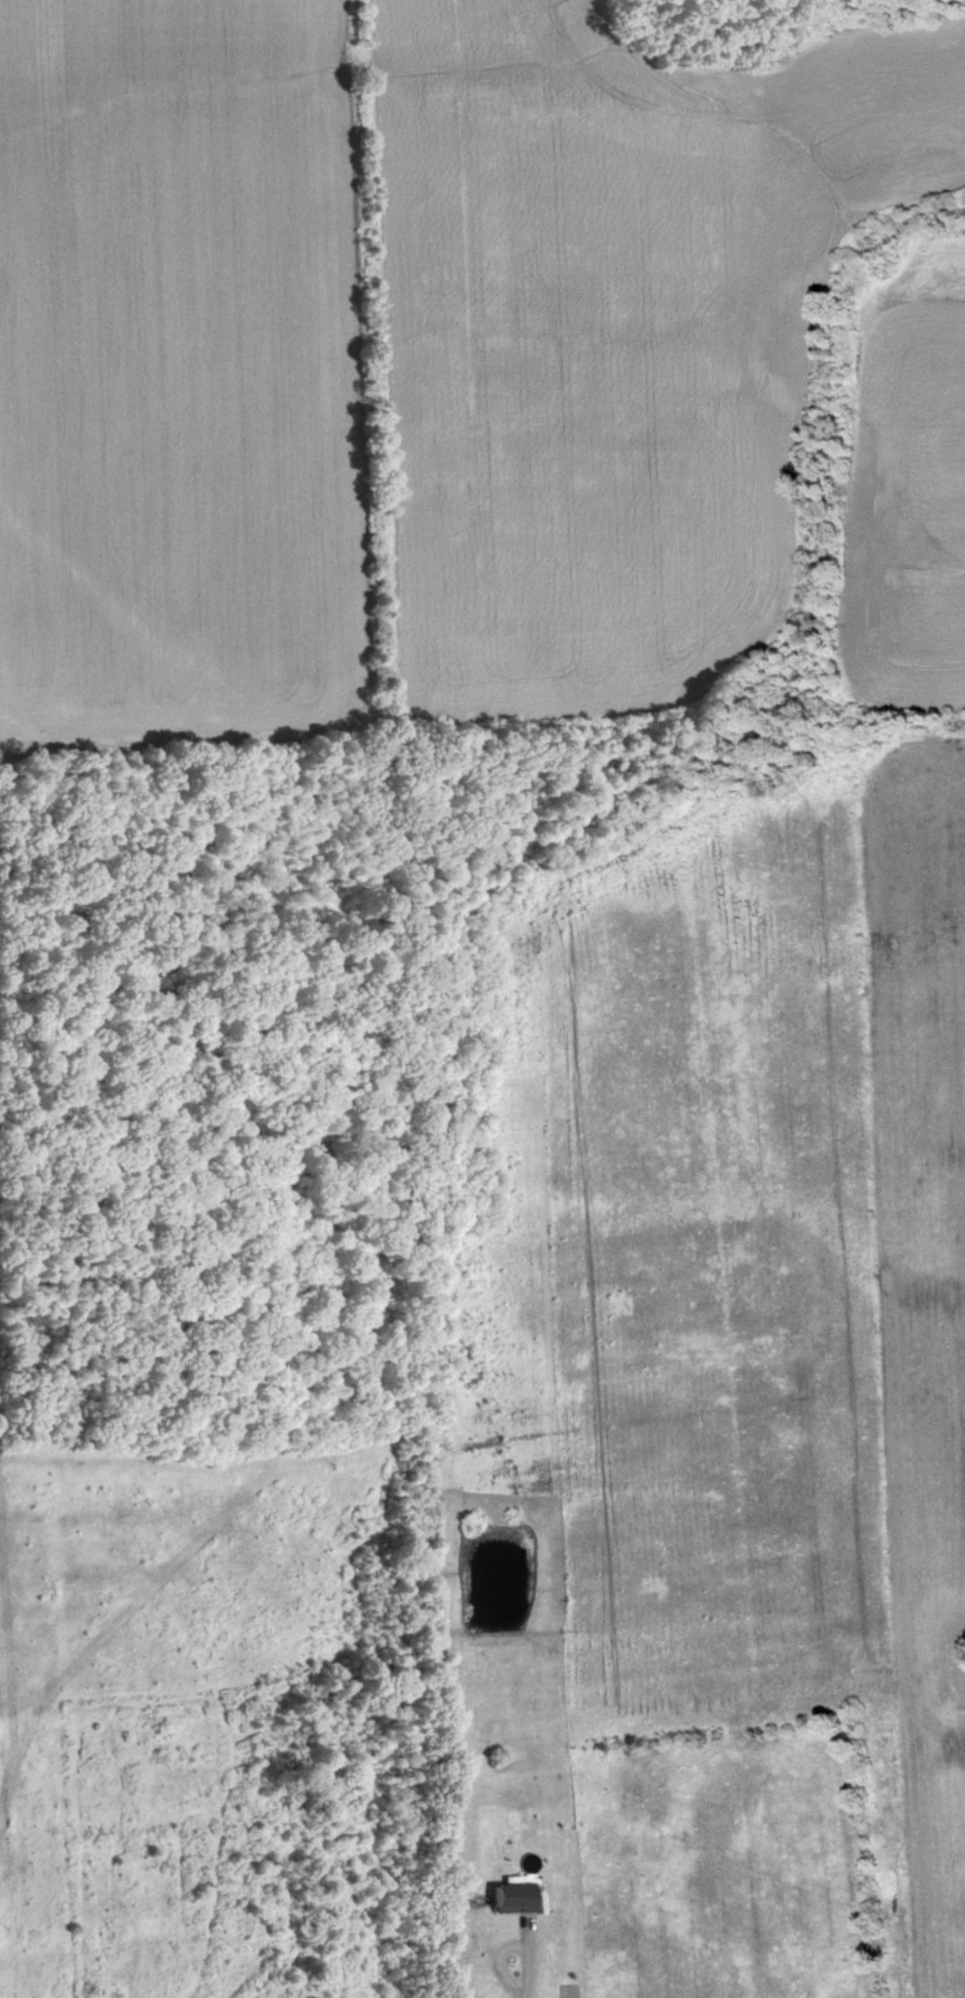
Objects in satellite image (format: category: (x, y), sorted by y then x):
road: (524, 1995)

